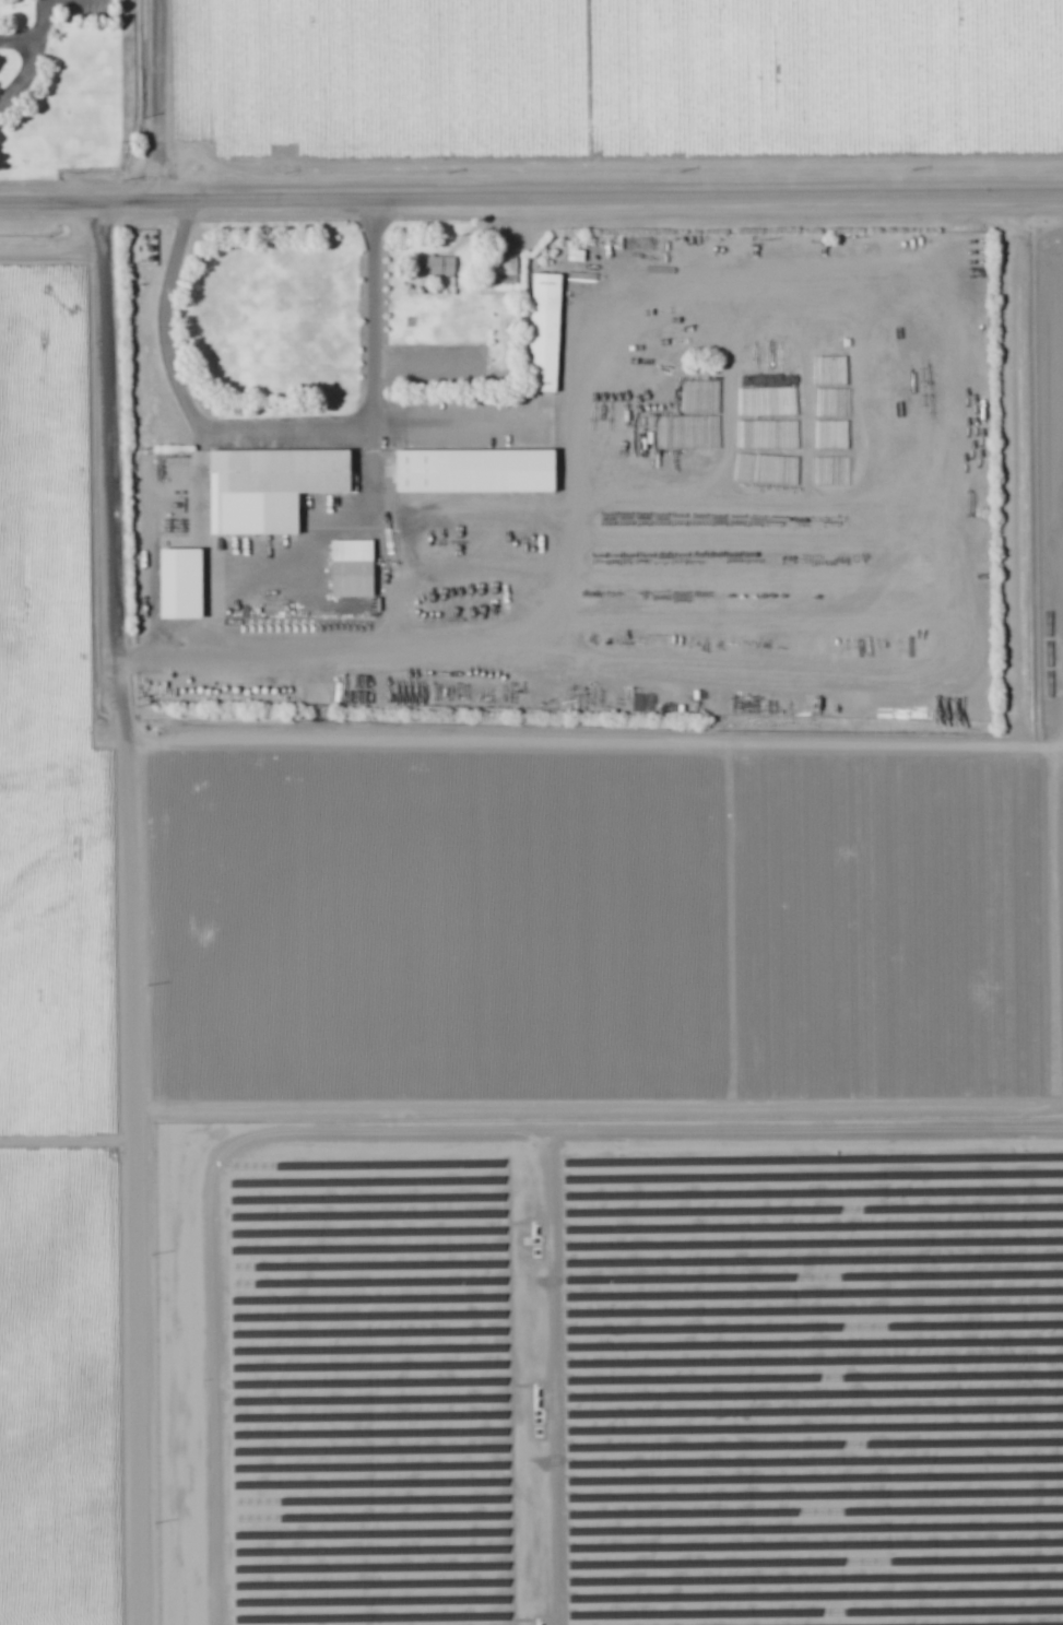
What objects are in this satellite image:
road: (42, 21)
road: (29, 57)
crop: (590, 89)
road: (531, 208)
building: (434, 267)
building: (501, 272)
building: (540, 333)
road: (284, 431)
building: (470, 470)
building: (317, 471)
building: (250, 493)
road: (376, 505)
building: (347, 569)
building: (176, 584)
road: (130, 812)
crop: (67, 941)
solar farm: (609, 1376)

